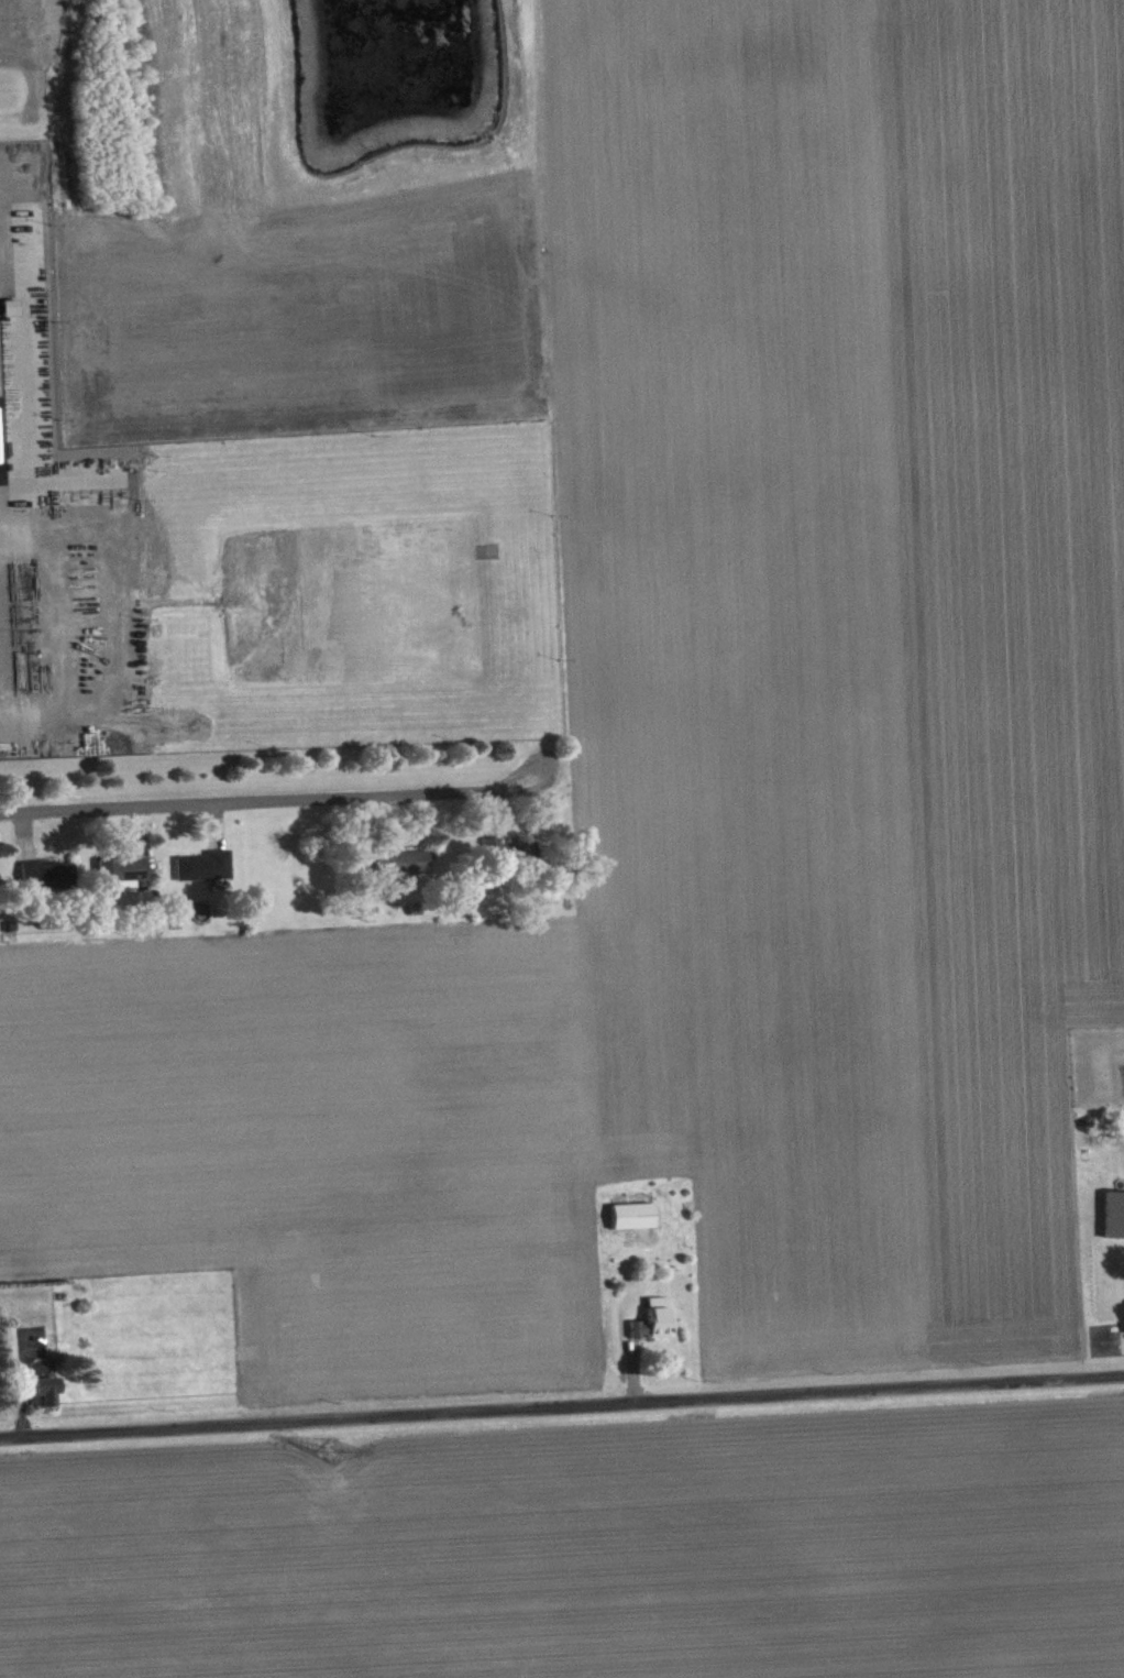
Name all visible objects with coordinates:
road: (2, 479)
road: (276, 799)
building: (408, 869)
building: (207, 873)
building: (135, 874)
building: (47, 880)
building: (1114, 1221)
building: (635, 1222)
building: (654, 1327)
building: (9, 1351)
building: (47, 1397)
road: (562, 1407)
power tower: (331, 1454)

